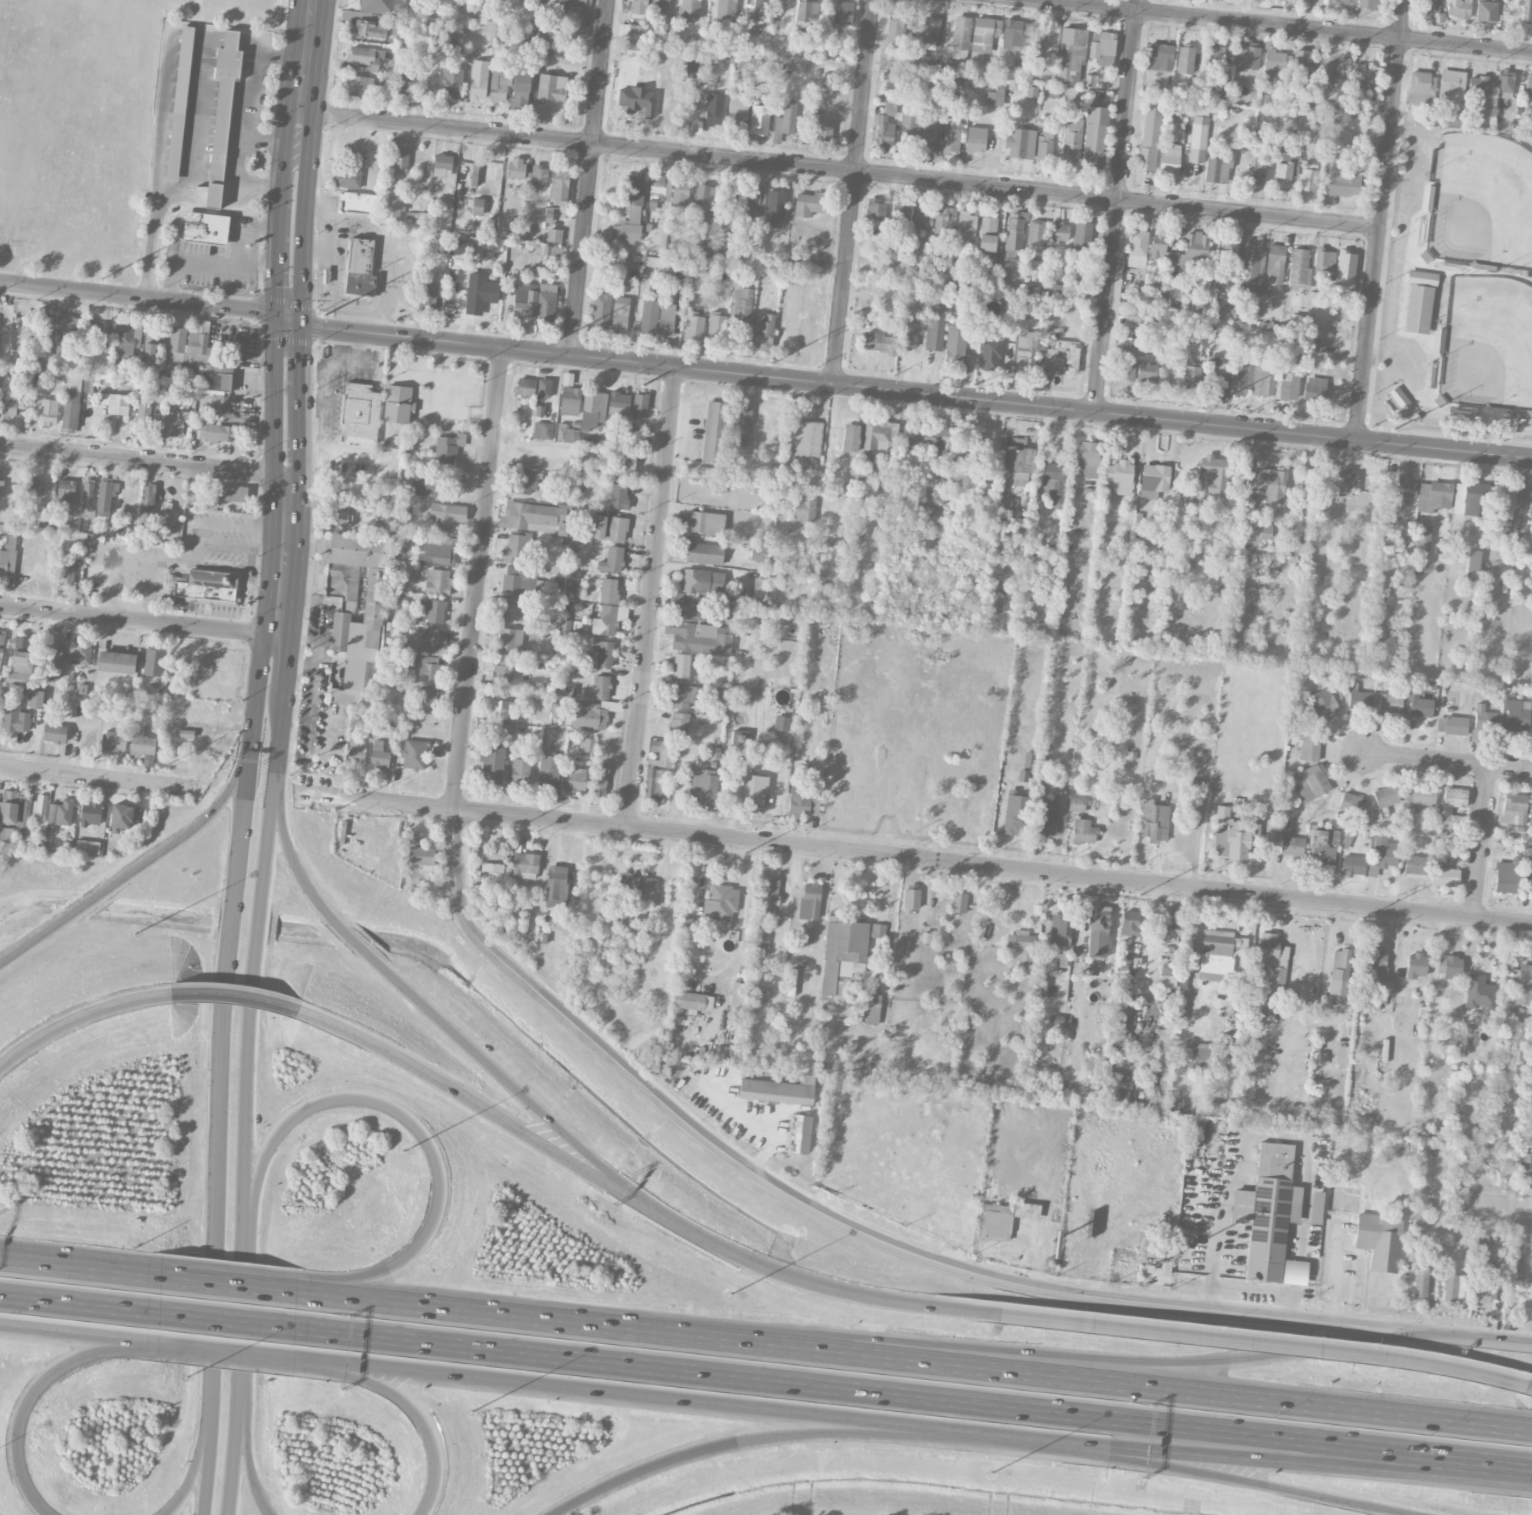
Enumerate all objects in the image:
building: (579, 0)
building: (1344, 1)
building: (402, 4)
building: (1369, 4)
building: (659, 5)
building: (376, 6)
building: (637, 6)
building: (1458, 8)
building: (690, 9)
building: (726, 9)
building: (1486, 11)
building: (1527, 11)
building: (753, 12)
building: (843, 12)
building: (807, 18)
road: (1401, 19)
road: (1283, 26)
building: (370, 28)
building: (894, 28)
building: (630, 30)
building: (928, 34)
building: (1014, 36)
building: (960, 37)
building: (983, 37)
building: (1103, 49)
building: (1071, 53)
building: (1215, 53)
building: (427, 55)
building: (366, 56)
building: (1159, 56)
building: (1247, 56)
building: (1185, 59)
building: (1302, 60)
building: (744, 61)
building: (1274, 64)
building: (691, 66)
road: (307, 70)
building: (1342, 70)
building: (1359, 77)
building: (409, 78)
building: (478, 79)
building: (521, 81)
building: (960, 81)
building: (452, 82)
building: (1477, 83)
building: (1448, 84)
building: (1505, 84)
building: (499, 85)
building: (1528, 85)
building: (360, 86)
building: (551, 88)
building: (1420, 88)
building: (1220, 93)
building: (995, 96)
building: (223, 98)
building: (637, 100)
building: (179, 102)
building: (737, 108)
road: (251, 109)
building: (1198, 109)
building: (1356, 111)
building: (714, 112)
building: (786, 118)
building: (759, 119)
building: (1453, 119)
building: (1295, 121)
building: (909, 127)
building: (1095, 128)
building: (823, 129)
building: (883, 133)
building: (931, 134)
building: (1150, 136)
road: (274, 138)
building: (951, 139)
building: (976, 139)
building: (1071, 139)
building: (1197, 139)
building: (1020, 143)
building: (1044, 147)
building: (400, 157)
building: (1169, 159)
building: (442, 165)
building: (488, 166)
building: (515, 168)
building: (1259, 168)
road: (282, 169)
building: (1216, 169)
road: (841, 171)
building: (1284, 171)
building: (539, 177)
road: (590, 177)
building: (1341, 177)
building: (348, 178)
building: (1308, 179)
building: (559, 185)
building: (658, 185)
building: (679, 192)
road: (854, 192)
building: (213, 195)
building: (706, 199)
building: (752, 200)
building: (358, 202)
building: (807, 204)
building: (466, 205)
road: (1118, 206)
building: (393, 208)
building: (774, 208)
building: (875, 209)
building: (630, 211)
building: (900, 217)
building: (923, 219)
building: (944, 222)
building: (205, 228)
road: (246, 229)
building: (966, 229)
road: (300, 230)
building: (1060, 232)
building: (553, 235)
building: (987, 235)
building: (1082, 235)
building: (1036, 238)
road: (1378, 239)
road: (387, 241)
building: (1229, 243)
building: (1013, 244)
building: (1196, 244)
building: (1158, 245)
road: (149, 246)
building: (726, 246)
building: (462, 248)
building: (1137, 248)
building: (700, 251)
road: (280, 258)
building: (651, 261)
road: (209, 263)
building: (1275, 263)
building: (1324, 263)
building: (359, 267)
building: (1249, 267)
building: (674, 268)
building: (1299, 268)
building: (1345, 271)
road: (332, 273)
power tower: (103, 280)
building: (1222, 281)
road: (139, 295)
building: (428, 295)
building: (480, 295)
building: (534, 301)
building: (740, 304)
road: (359, 307)
building: (1418, 309)
building: (601, 310)
building: (1227, 312)
power tower: (324, 314)
building: (620, 314)
traffic signals: (278, 315)
building: (649, 317)
building: (1131, 317)
building: (666, 319)
building: (1297, 322)
building: (44, 325)
building: (935, 325)
building: (694, 327)
building: (716, 328)
building: (1201, 330)
building: (765, 333)
building: (909, 334)
building: (127, 336)
building: (67, 337)
building: (154, 337)
building: (177, 339)
power tower: (556, 339)
building: (879, 342)
building: (955, 343)
road: (357, 345)
building: (1317, 345)
building: (199, 346)
building: (1025, 351)
building: (990, 354)
building: (148, 356)
building: (1060, 357)
road: (360, 362)
power tower: (771, 362)
road: (298, 363)
building: (1127, 364)
building: (1146, 370)
road: (415, 373)
road: (440, 375)
building: (1252, 375)
building: (1190, 377)
building: (215, 378)
building: (1215, 381)
building: (1288, 382)
power tower: (974, 383)
building: (525, 386)
building: (157, 387)
road: (326, 388)
building: (543, 388)
building: (1314, 389)
road: (904, 392)
building: (1399, 397)
road: (276, 399)
building: (570, 400)
road: (461, 401)
building: (640, 401)
building: (71, 403)
building: (8, 404)
building: (118, 404)
building: (220, 404)
building: (397, 404)
building: (618, 404)
power tower: (1203, 408)
building: (593, 409)
building: (48, 411)
building: (539, 411)
building: (360, 414)
building: (142, 419)
building: (175, 423)
road: (310, 426)
building: (741, 426)
power tower: (1394, 429)
building: (542, 430)
building: (216, 432)
building: (713, 432)
building: (564, 433)
building: (877, 434)
building: (914, 435)
building: (850, 437)
building: (807, 438)
building: (945, 439)
building: (981, 439)
road: (297, 445)
road: (330, 446)
building: (447, 448)
building: (1088, 458)
building: (1017, 461)
road: (143, 463)
building: (624, 465)
building: (864, 470)
building: (1213, 473)
building: (852, 474)
building: (1118, 479)
building: (1153, 480)
building: (528, 481)
building: (1053, 483)
building: (1266, 484)
building: (1346, 484)
building: (35, 485)
building: (431, 486)
building: (1400, 487)
building: (1, 488)
building: (65, 490)
building: (234, 493)
building: (941, 493)
building: (617, 495)
building: (1433, 496)
building: (105, 497)
building: (1470, 498)
building: (1507, 499)
building: (87, 500)
building: (1007, 503)
building: (1530, 505)
building: (147, 508)
building: (804, 509)
building: (446, 516)
building: (534, 518)
building: (707, 523)
building: (610, 528)
road: (245, 529)
building: (1255, 533)
road: (198, 543)
building: (1422, 543)
road: (226, 545)
building: (522, 548)
building: (436, 549)
building: (758, 551)
building: (703, 553)
building: (8, 556)
road: (282, 557)
building: (611, 560)
road: (174, 562)
road: (241, 568)
building: (1475, 568)
building: (67, 569)
road: (116, 571)
road: (479, 577)
building: (519, 579)
building: (438, 581)
building: (702, 581)
building: (204, 585)
building: (573, 586)
building: (759, 587)
building: (608, 590)
road: (147, 591)
road: (651, 597)
building: (689, 606)
building: (724, 607)
building: (512, 609)
building: (433, 610)
building: (372, 617)
road: (138, 618)
building: (608, 619)
building: (700, 637)
building: (509, 639)
building: (427, 640)
building: (1, 643)
building: (79, 652)
building: (603, 653)
building: (52, 658)
building: (20, 662)
building: (116, 662)
building: (153, 662)
road: (282, 662)
building: (681, 666)
building: (425, 668)
building: (502, 672)
building: (601, 687)
road: (255, 693)
building: (720, 695)
building: (679, 696)
building: (36, 698)
building: (426, 699)
building: (1360, 699)
building: (1322, 703)
building: (1390, 703)
building: (1418, 703)
building: (501, 709)
building: (557, 709)
building: (1516, 713)
building: (588, 716)
building: (1484, 717)
building: (14, 718)
road: (279, 723)
building: (678, 723)
building: (781, 723)
building: (1455, 725)
building: (54, 733)
building: (185, 733)
building: (506, 733)
building: (1310, 733)
building: (739, 737)
building: (115, 740)
building: (141, 743)
building: (586, 744)
building: (1309, 749)
building: (356, 751)
building: (662, 752)
building: (414, 754)
building: (379, 758)
building: (1028, 759)
road: (1447, 762)
building: (491, 763)
power tower: (154, 770)
building: (520, 771)
building: (549, 773)
building: (1022, 775)
road: (98, 776)
building: (574, 778)
building: (599, 780)
building: (1311, 782)
building: (655, 784)
building: (702, 786)
building: (752, 792)
building: (1423, 795)
building: (1384, 801)
building: (1451, 802)
building: (804, 803)
building: (1351, 803)
building: (1076, 804)
building: (9, 807)
building: (40, 807)
building: (1513, 808)
power tower: (335, 809)
building: (61, 812)
building: (1530, 812)
building: (90, 813)
building: (1016, 814)
building: (24, 815)
building: (124, 815)
building: (1044, 817)
building: (1154, 821)
power tower: (513, 828)
building: (1083, 831)
building: (6, 836)
building: (1232, 837)
road: (1482, 843)
building: (1290, 844)
building: (87, 846)
building: (1320, 848)
power tower: (746, 853)
building: (1383, 854)
building: (421, 858)
road: (912, 858)
building: (492, 859)
building: (525, 865)
building: (1352, 865)
building: (1415, 865)
building: (1528, 867)
road: (133, 871)
power tower: (939, 873)
building: (1506, 876)
building: (1446, 877)
building: (556, 886)
building: (769, 894)
power tower: (1141, 894)
building: (911, 898)
building: (621, 899)
building: (809, 901)
building: (958, 901)
building: (721, 905)
power tower: (1363, 917)
building: (1129, 925)
building: (1171, 928)
building: (1097, 931)
building: (1060, 932)
building: (1021, 944)
building: (845, 954)
building: (1217, 954)
building: (1373, 965)
building: (1416, 965)
building: (1449, 966)
building: (1272, 969)
building: (1339, 972)
road: (1433, 974)
building: (1170, 976)
building: (1522, 984)
building: (1480, 992)
road: (242, 994)
building: (737, 997)
building: (690, 1001)
building: (1324, 1001)
road: (427, 1003)
building: (1180, 1007)
building: (872, 1009)
road: (247, 1012)
road: (82, 1015)
building: (1254, 1015)
building: (1122, 1021)
building: (1164, 1035)
building: (1446, 1038)
building: (1464, 1039)
building: (724, 1053)
building: (1204, 1058)
road: (217, 1088)
building: (777, 1090)
building: (1150, 1102)
road: (483, 1104)
road: (384, 1106)
building: (1216, 1109)
road: (748, 1119)
building: (800, 1134)
road: (1245, 1147)
building: (1525, 1165)
building: (1315, 1207)
building: (1419, 1209)
road: (818, 1210)
building: (1270, 1220)
building: (995, 1221)
building: (1378, 1238)
road: (80, 1267)
road: (777, 1272)
building: (1420, 1281)
road: (228, 1284)
building: (1453, 1287)
building: (1483, 1293)
road: (321, 1295)
road: (80, 1303)
road: (228, 1319)
road: (244, 1325)
road: (79, 1335)
road: (1452, 1335)
road: (1222, 1340)
road: (226, 1353)
road: (1037, 1354)
road: (333, 1364)
road: (939, 1367)
road: (913, 1395)
road: (650, 1398)
road: (26, 1408)
road: (431, 1431)
road: (1002, 1438)
road: (734, 1445)
road: (239, 1446)
road: (248, 1448)
road: (1304, 1459)
road: (208, 1468)
road: (193, 1470)
road: (1235, 1479)

